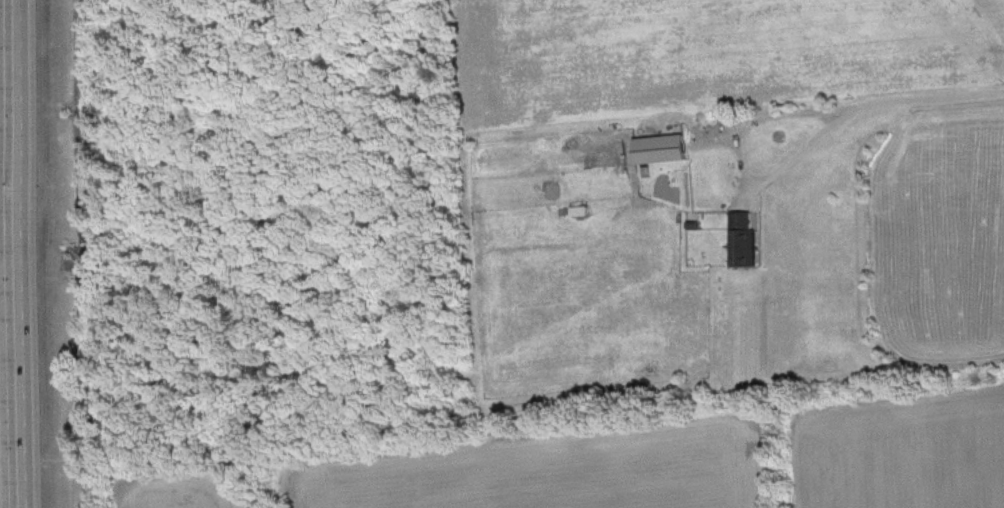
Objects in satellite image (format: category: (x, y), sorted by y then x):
road: (870, 110)
building: (667, 151)
building: (749, 241)
road: (24, 254)
road: (0, 466)

